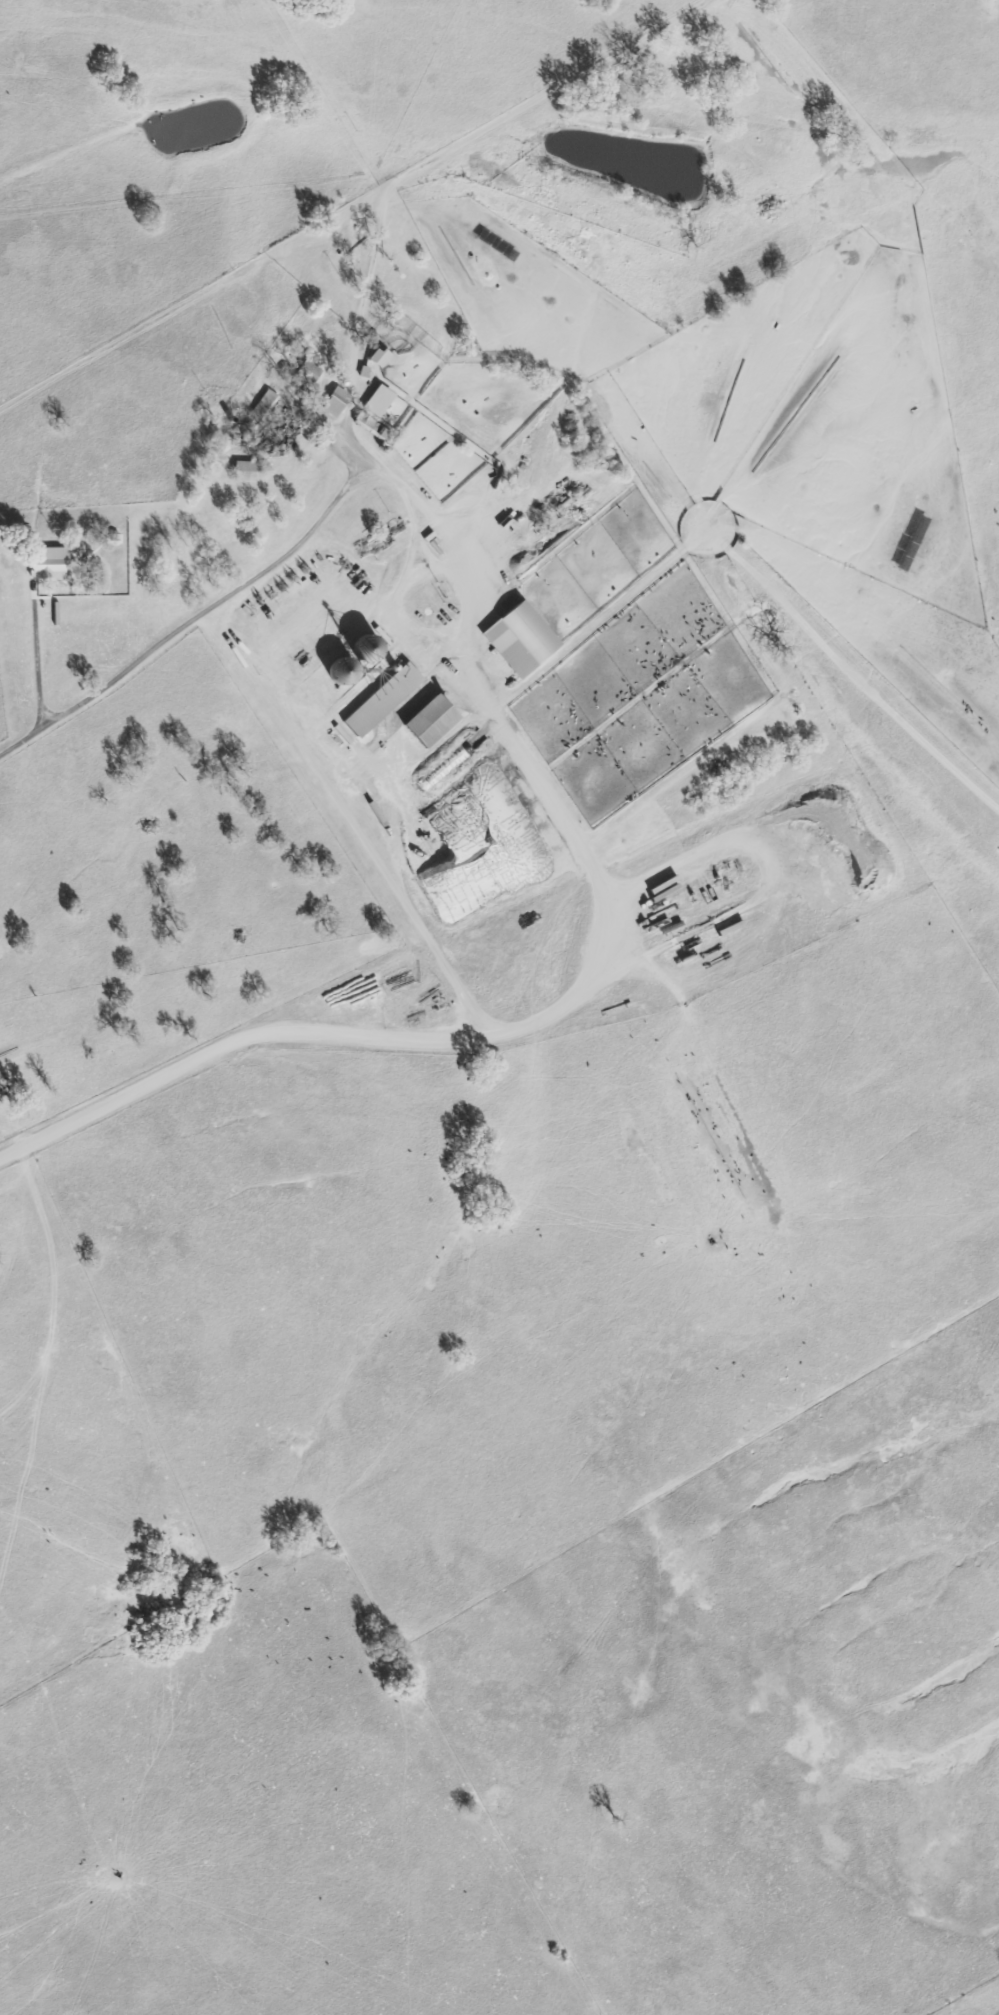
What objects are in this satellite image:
building: (376, 356)
road: (359, 379)
building: (374, 400)
building: (332, 401)
building: (44, 564)
road: (463, 597)
building: (513, 638)
road: (35, 668)
building: (423, 722)
road: (354, 820)
road: (763, 889)
road: (420, 1039)

